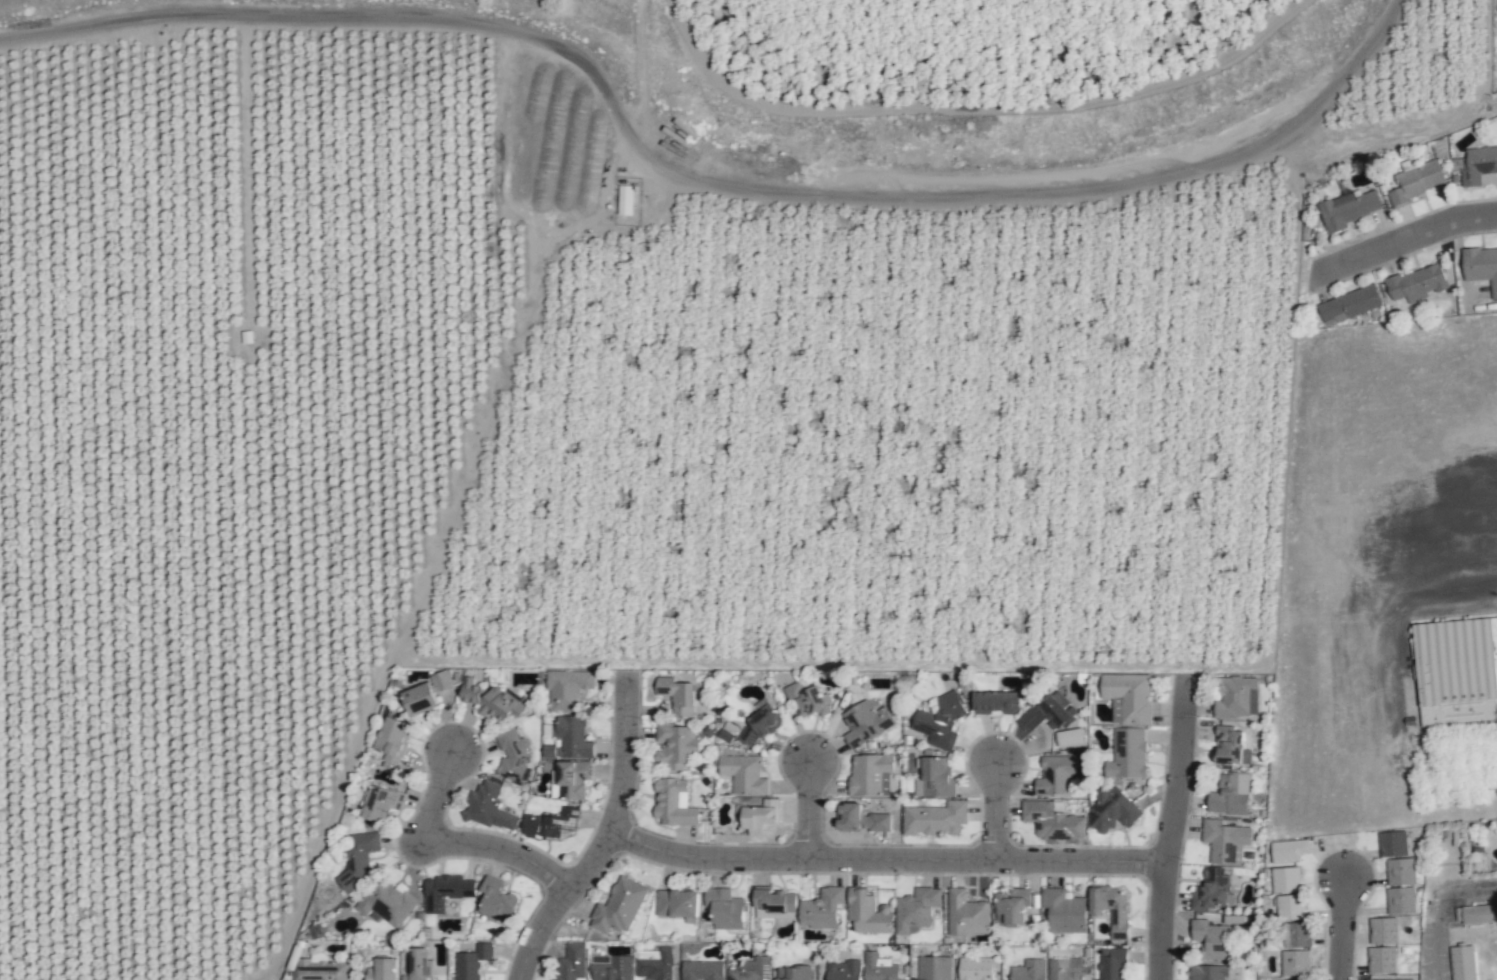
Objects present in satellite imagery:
building: (1476, 165)
road: (700, 181)
building: (1416, 182)
building: (625, 200)
building: (1347, 209)
road: (1398, 242)
building: (1481, 266)
building: (1416, 284)
building: (1350, 304)
crop: (614, 385)
building: (1456, 671)
building: (443, 679)
building: (567, 689)
building: (677, 695)
building: (1127, 697)
building: (1236, 697)
building: (419, 699)
building: (809, 700)
building: (995, 702)
building: (1047, 712)
building: (940, 721)
building: (865, 723)
building: (760, 724)
building: (727, 732)
building: (568, 739)
building: (392, 741)
building: (1230, 745)
building: (675, 746)
building: (1127, 755)
building: (744, 774)
building: (1058, 774)
building: (870, 775)
building: (937, 777)
building: (570, 780)
building: (1230, 795)
building: (380, 802)
building: (674, 803)
building: (489, 807)
building: (1112, 810)
road: (813, 814)
road: (999, 815)
building: (761, 818)
building: (935, 818)
building: (861, 819)
building: (1052, 821)
building: (549, 824)
road: (1174, 828)
road: (609, 836)
building: (1224, 841)
road: (464, 844)
building: (1393, 844)
building: (1288, 850)
building: (359, 858)
road: (888, 861)
building: (1401, 871)
building: (1285, 880)
building: (1211, 889)
building: (446, 891)
building: (495, 898)
building: (770, 900)
building: (1401, 900)
building: (386, 902)
building: (677, 903)
building: (619, 906)
building: (1290, 907)
building: (724, 909)
building: (822, 909)
building: (1113, 909)
building: (916, 910)
building: (1064, 911)
building: (868, 912)
road: (1438, 912)
building: (967, 914)
building: (1476, 914)
road: (1345, 930)
building: (1383, 931)
building: (1210, 939)
building: (1295, 948)
building: (485, 951)
building: (1382, 960)
building: (571, 962)
building: (1463, 963)
building: (1112, 964)
building: (419, 965)
building: (467, 966)
building: (655, 966)
building: (611, 967)
building: (879, 968)
building: (934, 968)
building: (975, 968)
building: (384, 969)
building: (750, 969)
building: (1065, 969)
building: (843, 970)
building: (1029, 970)
building: (322, 971)
building: (1208, 972)
building: (794, 973)
building: (1393, 979)

